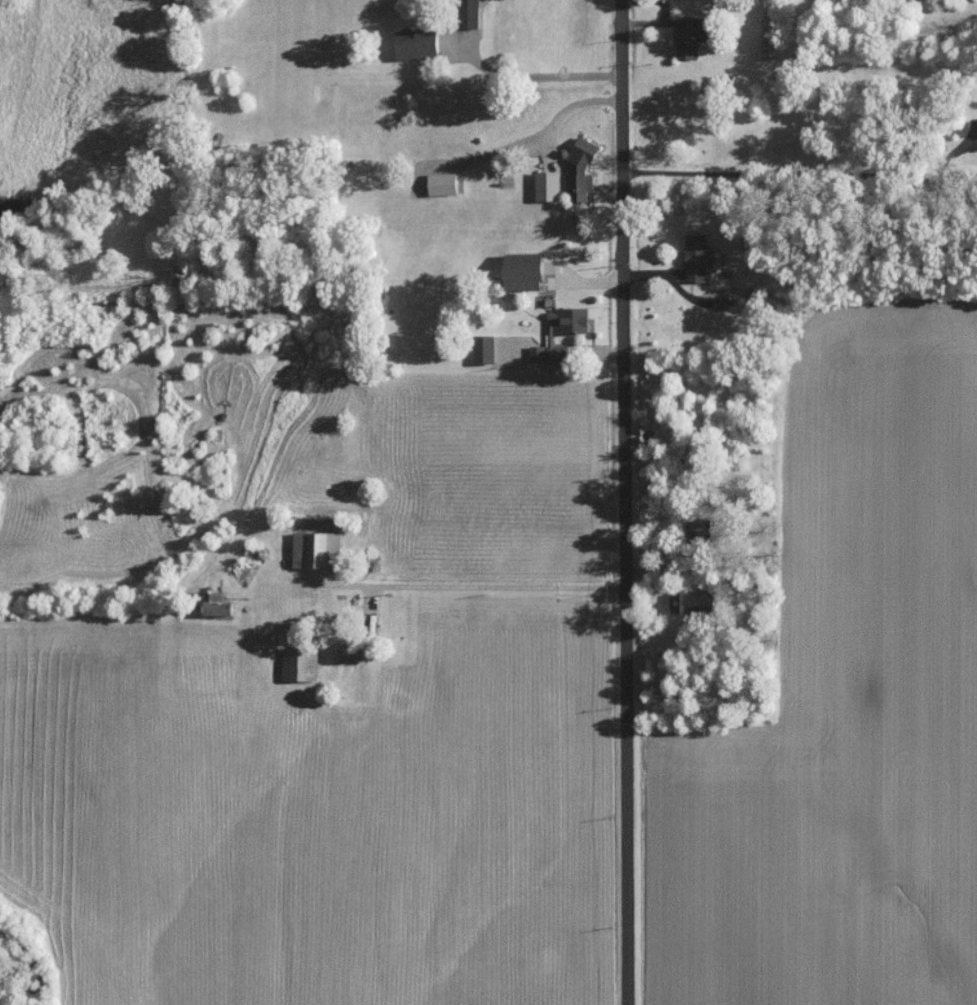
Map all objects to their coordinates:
building: (470, 14)
building: (691, 36)
building: (418, 44)
building: (771, 45)
road: (539, 77)
road: (568, 110)
building: (580, 171)
building: (443, 184)
building: (548, 186)
road: (800, 212)
building: (698, 258)
building: (526, 271)
building: (570, 320)
building: (484, 350)
building: (551, 353)
road: (623, 502)
building: (699, 528)
building: (317, 551)
road: (482, 586)
building: (692, 603)
building: (221, 607)
building: (299, 663)

